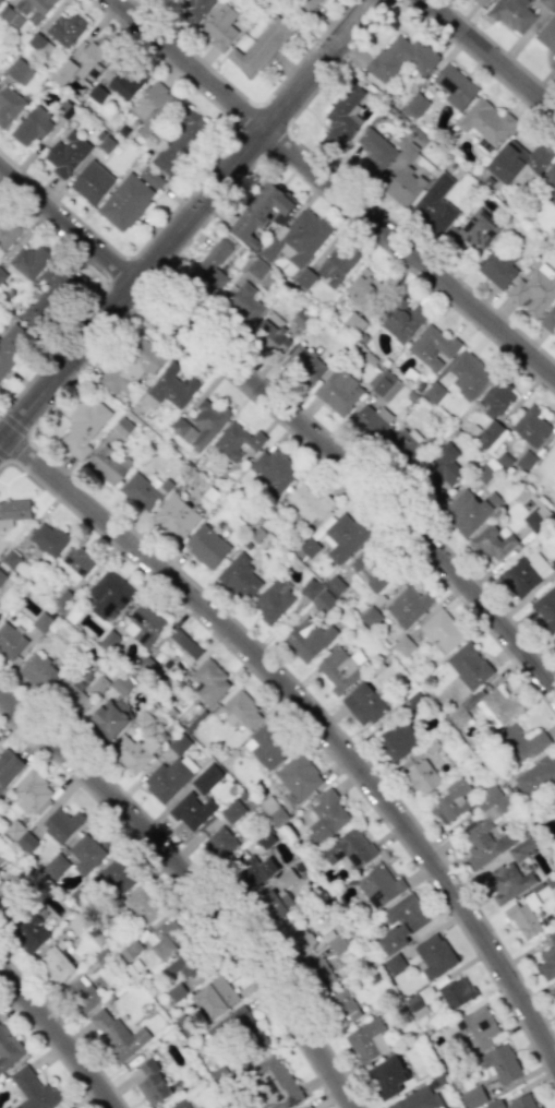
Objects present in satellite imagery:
building: (0, 0)
building: (480, 1)
building: (547, 3)
building: (307, 4)
building: (195, 9)
building: (24, 11)
building: (512, 14)
building: (219, 26)
building: (65, 28)
building: (547, 34)
building: (39, 45)
building: (260, 47)
road: (488, 57)
building: (400, 58)
building: (93, 60)
building: (552, 63)
building: (19, 71)
building: (62, 72)
building: (123, 85)
building: (454, 86)
building: (96, 94)
road: (246, 99)
building: (8, 105)
building: (417, 105)
building: (152, 109)
building: (342, 117)
building: (485, 121)
building: (32, 126)
building: (180, 143)
building: (374, 151)
building: (67, 154)
building: (519, 163)
building: (149, 177)
building: (91, 182)
building: (547, 184)
building: (405, 187)
road: (333, 191)
building: (124, 202)
building: (434, 204)
building: (260, 212)
road: (186, 223)
building: (479, 229)
building: (7, 233)
building: (298, 237)
building: (27, 261)
building: (213, 264)
building: (335, 265)
building: (497, 267)
building: (256, 269)
building: (2, 275)
building: (304, 278)
building: (364, 289)
building: (534, 290)
building: (48, 296)
building: (242, 301)
building: (548, 319)
building: (401, 321)
building: (270, 333)
building: (11, 345)
building: (432, 347)
building: (303, 364)
building: (133, 365)
building: (469, 374)
building: (385, 385)
building: (169, 388)
building: (338, 391)
building: (493, 412)
road: (290, 420)
building: (371, 420)
building: (203, 422)
building: (83, 426)
building: (530, 427)
building: (236, 441)
building: (403, 445)
building: (108, 464)
building: (444, 464)
building: (547, 465)
building: (273, 469)
building: (143, 490)
building: (307, 502)
building: (468, 510)
building: (13, 511)
building: (174, 517)
building: (538, 519)
building: (340, 536)
building: (48, 538)
building: (491, 543)
building: (206, 546)
building: (75, 563)
building: (371, 570)
building: (523, 573)
building: (1, 576)
building: (239, 576)
building: (335, 584)
building: (108, 594)
building: (317, 595)
building: (277, 597)
building: (408, 605)
building: (545, 608)
building: (0, 616)
building: (144, 624)
building: (442, 631)
building: (553, 639)
building: (310, 640)
building: (10, 641)
building: (109, 641)
building: (403, 646)
building: (179, 647)
building: (469, 665)
building: (338, 668)
building: (38, 670)
building: (209, 681)
building: (121, 684)
building: (69, 693)
building: (362, 704)
building: (502, 704)
building: (239, 711)
building: (109, 717)
road: (312, 718)
building: (398, 739)
building: (521, 742)
building: (267, 744)
building: (133, 752)
building: (8, 766)
building: (298, 776)
building: (168, 777)
building: (422, 777)
building: (206, 778)
building: (536, 779)
building: (32, 793)
building: (451, 801)
building: (554, 803)
building: (191, 810)
building: (273, 810)
building: (232, 811)
building: (326, 817)
building: (61, 824)
building: (21, 836)
building: (219, 843)
building: (484, 843)
building: (349, 848)
building: (521, 849)
building: (86, 854)
building: (56, 867)
building: (254, 870)
building: (118, 874)
building: (506, 882)
building: (378, 885)
road: (195, 886)
building: (5, 897)
building: (276, 903)
building: (143, 906)
building: (522, 920)
building: (400, 922)
building: (29, 933)
building: (165, 938)
building: (299, 939)
building: (337, 945)
building: (434, 955)
building: (547, 958)
building: (394, 963)
building: (56, 964)
building: (183, 964)
building: (321, 973)
building: (553, 990)
building: (456, 992)
building: (82, 994)
building: (214, 998)
building: (417, 1005)
building: (343, 1006)
building: (239, 1029)
building: (474, 1030)
building: (116, 1033)
road: (59, 1038)
building: (367, 1040)
building: (8, 1049)
building: (500, 1064)
building: (387, 1077)
building: (275, 1083)
building: (153, 1084)
building: (34, 1091)
building: (473, 1097)
building: (418, 1099)
building: (514, 1103)
building: (181, 1105)
building: (69, 1107)
building: (307, 1107)

